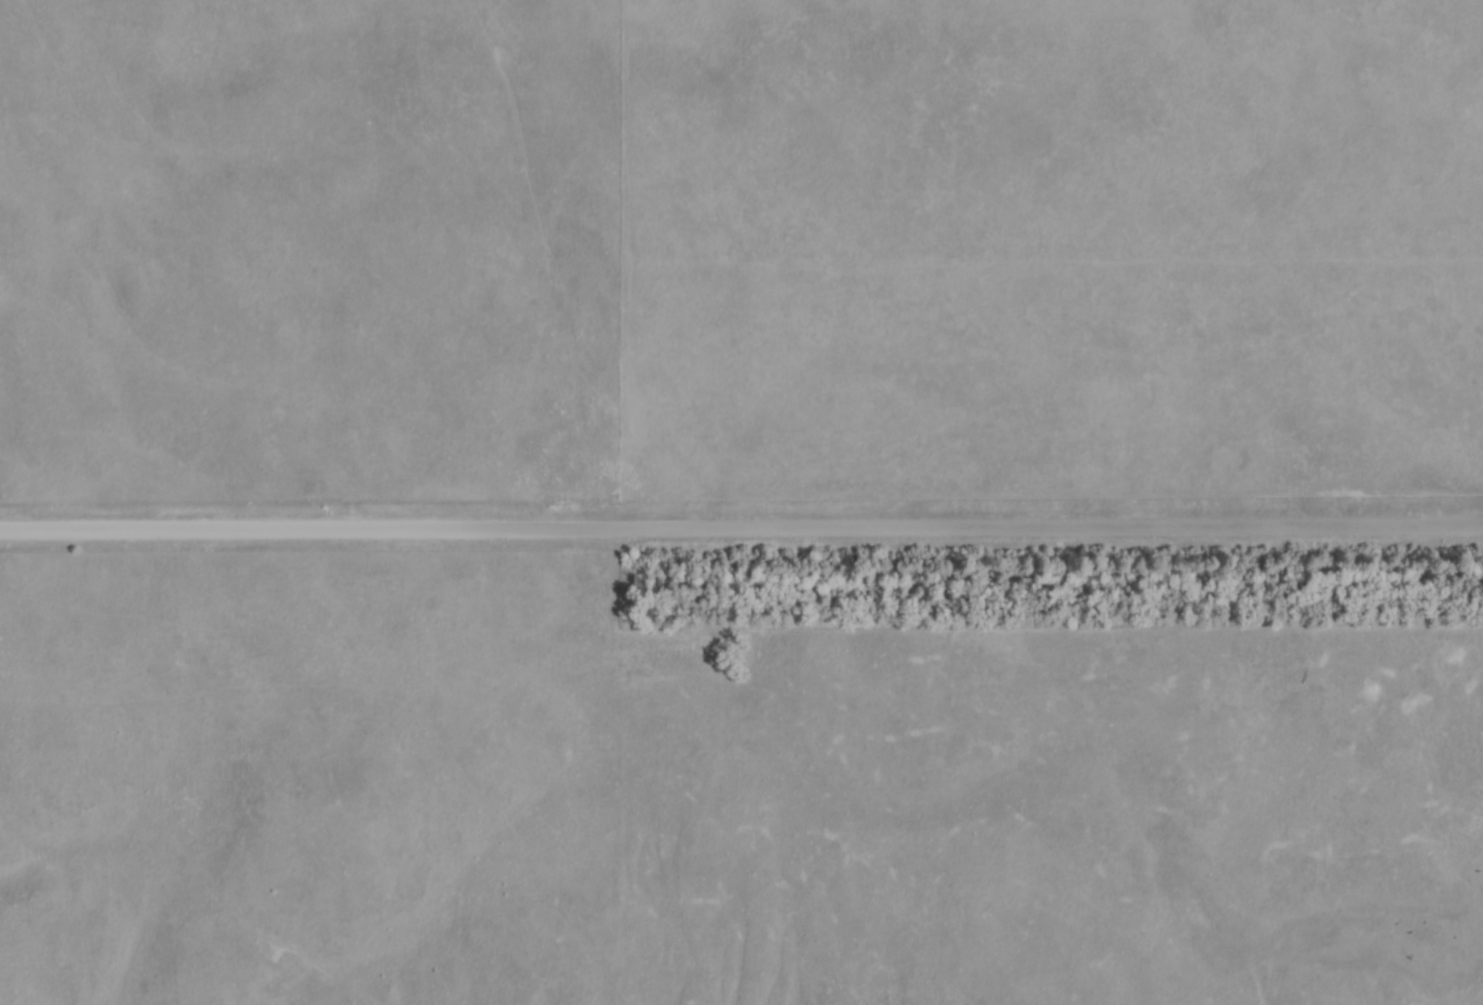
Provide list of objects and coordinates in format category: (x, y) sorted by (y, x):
road: (741, 529)

